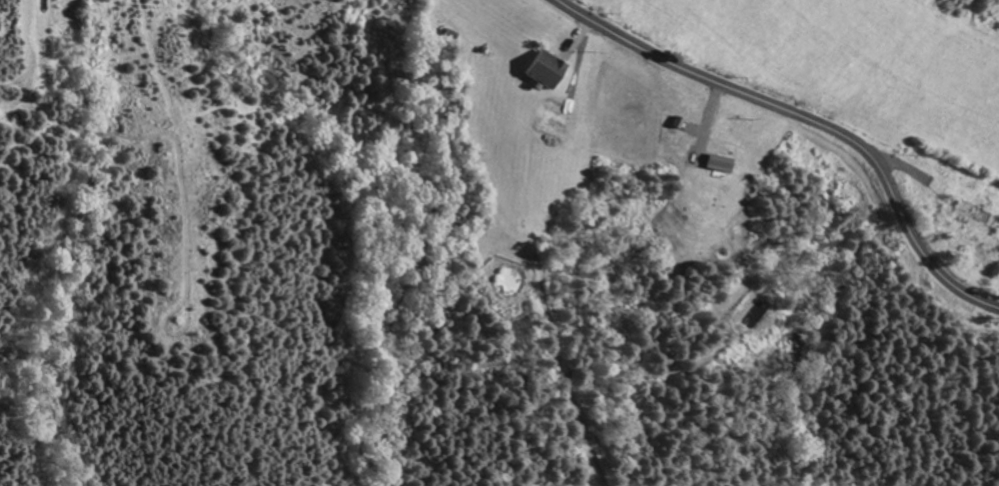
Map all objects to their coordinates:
building: (545, 70)
road: (806, 118)
building: (719, 163)

